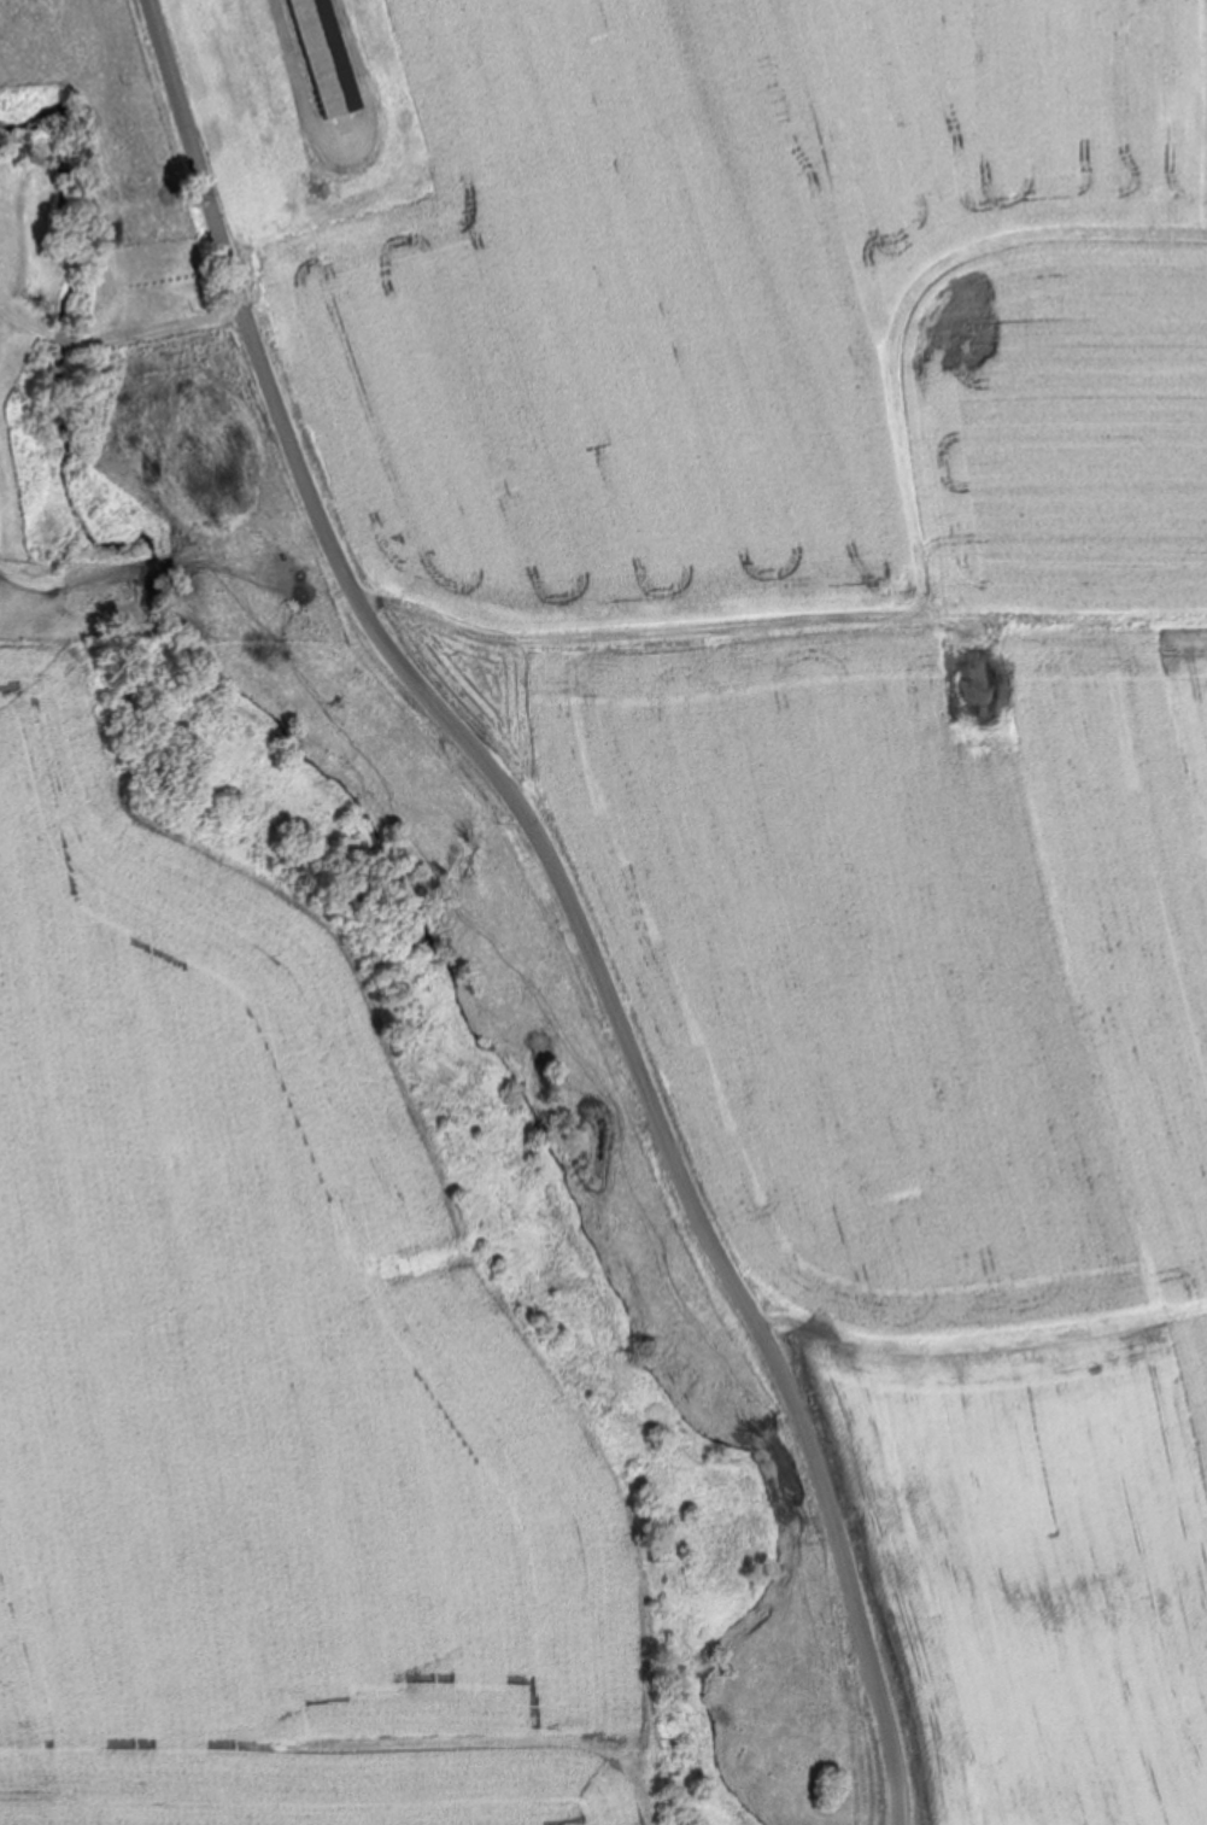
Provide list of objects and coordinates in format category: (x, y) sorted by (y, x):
building: (320, 57)
road: (118, 338)
road: (517, 906)

